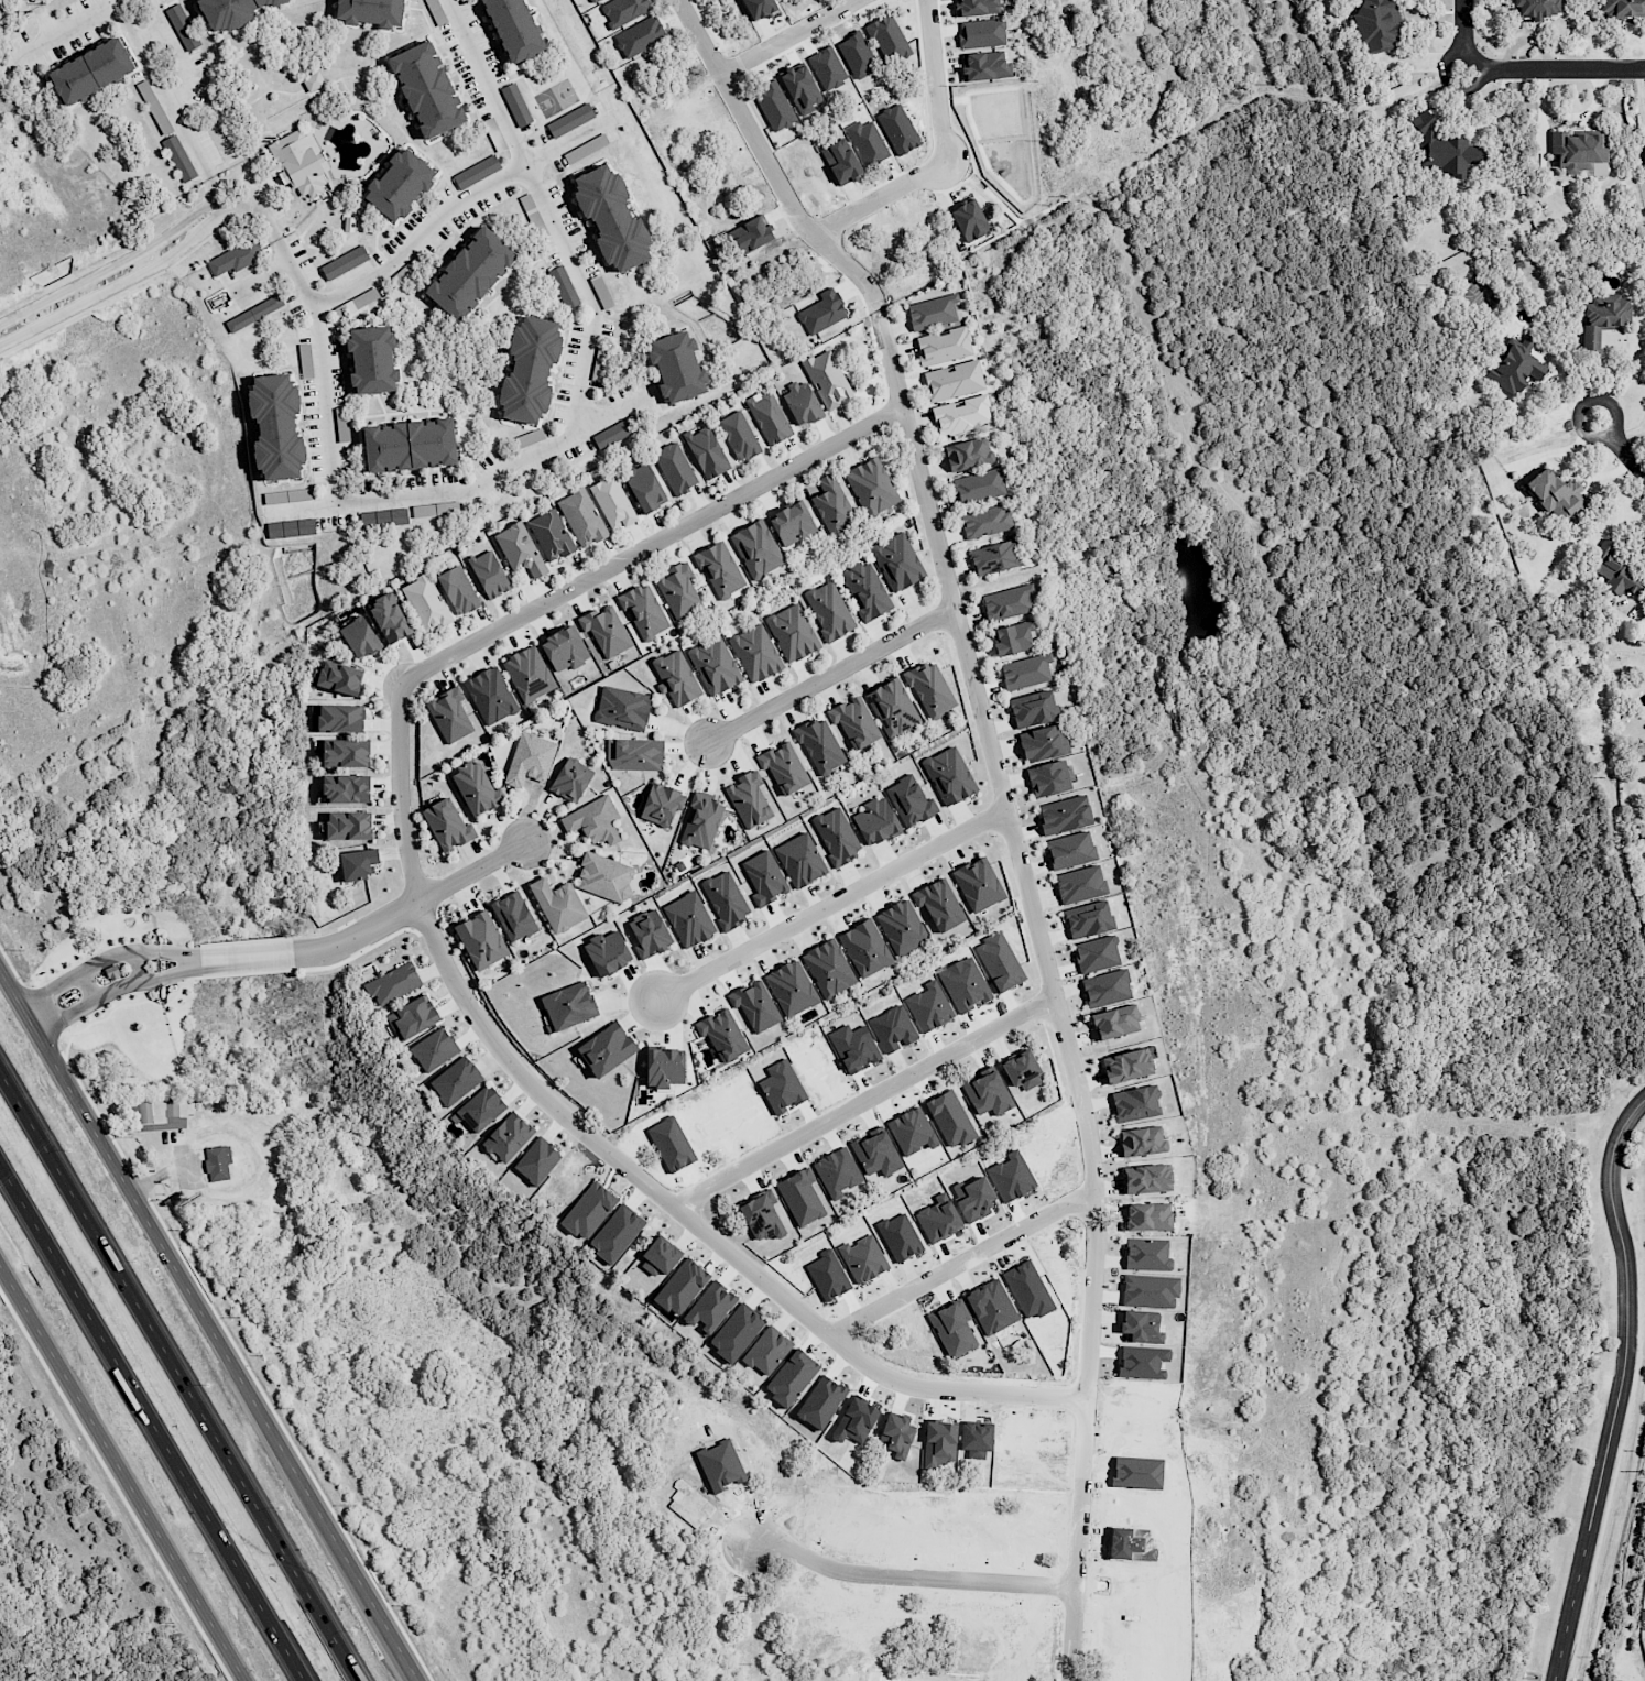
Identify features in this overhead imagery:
building: (595, 0)
road: (35, 2)
building: (976, 7)
building: (1536, 8)
building: (1621, 8)
building: (232, 11)
building: (377, 11)
road: (46, 22)
building: (1376, 25)
building: (182, 26)
road: (1463, 26)
building: (521, 28)
road: (69, 31)
building: (981, 33)
road: (152, 35)
road: (791, 37)
road: (183, 59)
road: (1446, 67)
building: (97, 72)
road: (1564, 72)
building: (312, 80)
road: (937, 80)
road: (163, 90)
building: (432, 90)
park: (556, 99)
building: (515, 105)
building: (570, 120)
building: (1442, 149)
building: (1578, 152)
building: (178, 159)
building: (303, 163)
building: (476, 172)
road: (780, 179)
building: (405, 187)
road: (458, 205)
road: (241, 210)
road: (549, 214)
building: (617, 218)
building: (235, 258)
building: (344, 262)
road: (113, 266)
building: (476, 275)
building: (563, 286)
road: (119, 287)
building: (932, 313)
building: (254, 314)
building: (1602, 317)
building: (944, 346)
building: (375, 362)
building: (1515, 365)
building: (682, 369)
road: (322, 370)
building: (535, 371)
building: (827, 379)
building: (954, 380)
building: (800, 402)
building: (961, 414)
building: (767, 417)
building: (282, 428)
building: (612, 435)
building: (738, 436)
road: (1601, 438)
building: (413, 447)
building: (706, 451)
building: (967, 454)
road: (1624, 457)
building: (674, 468)
road: (1644, 476)
road: (1644, 477)
building: (979, 485)
building: (871, 487)
building: (644, 488)
road: (473, 491)
building: (1556, 494)
building: (286, 495)
building: (611, 502)
building: (832, 506)
building: (435, 509)
building: (383, 517)
building: (581, 517)
building: (984, 522)
building: (793, 524)
building: (291, 528)
building: (551, 535)
road: (653, 545)
building: (519, 549)
building: (756, 549)
building: (994, 557)
building: (896, 560)
building: (719, 569)
building: (1615, 571)
building: (489, 574)
building: (457, 590)
building: (865, 590)
building: (678, 591)
building: (1007, 602)
building: (425, 603)
building: (828, 611)
building: (643, 612)
building: (389, 618)
building: (604, 630)
building: (792, 633)
building: (359, 637)
building: (1014, 638)
building: (564, 648)
building: (754, 653)
building: (713, 666)
building: (1025, 672)
building: (529, 673)
building: (339, 677)
road: (830, 677)
building: (675, 678)
building: (929, 689)
building: (490, 696)
building: (892, 707)
building: (621, 708)
building: (1032, 709)
building: (449, 714)
building: (340, 718)
building: (853, 722)
building: (1043, 743)
building: (819, 745)
building: (346, 754)
building: (634, 754)
building: (529, 760)
building: (783, 767)
building: (948, 775)
building: (1047, 778)
building: (570, 779)
building: (475, 787)
building: (345, 789)
building: (748, 799)
building: (908, 801)
building: (661, 804)
building: (1064, 815)
building: (592, 820)
building: (700, 821)
building: (875, 821)
building: (447, 825)
building: (348, 826)
building: (836, 836)
road: (1013, 836)
building: (1069, 850)
building: (799, 860)
building: (357, 863)
building: (604, 876)
building: (764, 877)
building: (978, 884)
building: (1079, 884)
road: (827, 898)
building: (725, 899)
road: (413, 905)
building: (557, 905)
building: (938, 905)
building: (513, 916)
building: (688, 919)
building: (1088, 919)
building: (901, 927)
building: (649, 934)
building: (480, 940)
building: (864, 948)
building: (606, 952)
road: (170, 953)
building: (1096, 953)
road: (249, 958)
building: (999, 962)
road: (139, 968)
building: (828, 969)
road: (78, 975)
road: (173, 975)
building: (392, 983)
building: (965, 985)
road: (90, 986)
building: (1105, 987)
building: (791, 989)
road: (89, 1005)
building: (568, 1005)
building: (754, 1006)
building: (928, 1006)
building: (412, 1017)
building: (1114, 1022)
building: (892, 1028)
building: (721, 1035)
building: (853, 1048)
building: (434, 1049)
building: (604, 1049)
building: (1125, 1066)
building: (663, 1068)
building: (1021, 1070)
building: (455, 1081)
building: (781, 1087)
building: (987, 1093)
road: (865, 1101)
building: (1135, 1103)
building: (479, 1109)
building: (949, 1118)
building: (911, 1131)
building: (508, 1137)
building: (1141, 1140)
building: (875, 1154)
building: (536, 1160)
road: (612, 1161)
building: (217, 1162)
building: (837, 1172)
building: (1146, 1178)
building: (799, 1197)
building: (588, 1211)
building: (761, 1216)
building: (1147, 1216)
building: (615, 1233)
building: (1146, 1254)
building: (660, 1257)
building: (862, 1258)
road: (961, 1260)
building: (680, 1287)
building: (1148, 1290)
building: (710, 1307)
building: (990, 1307)
road: (210, 1323)
building: (1141, 1325)
building: (952, 1329)
building: (736, 1332)
building: (766, 1350)
road: (179, 1377)
building: (791, 1377)
road: (1620, 1388)
building: (822, 1402)
road: (153, 1427)
building: (895, 1434)
building: (938, 1443)
road: (122, 1473)
road: (912, 1575)
road: (1078, 1581)

